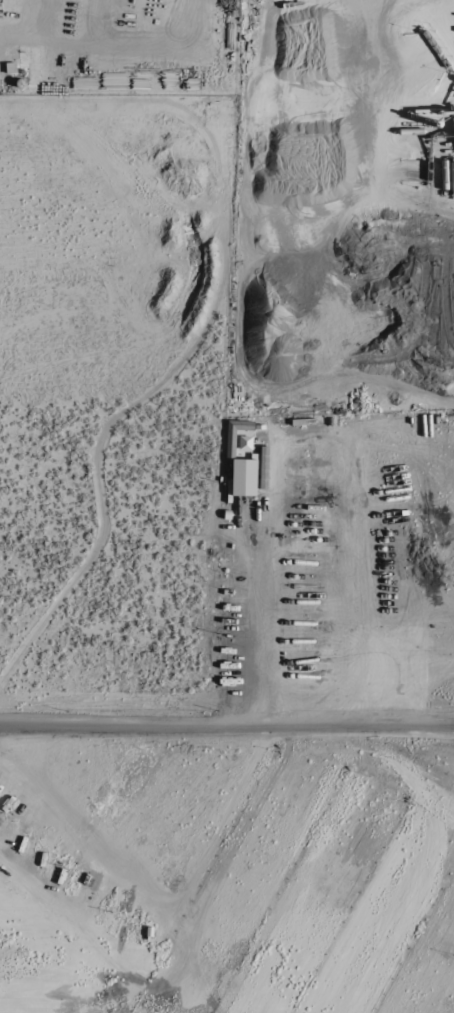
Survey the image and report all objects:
building: (230, 441)
building: (241, 478)
road: (226, 728)

